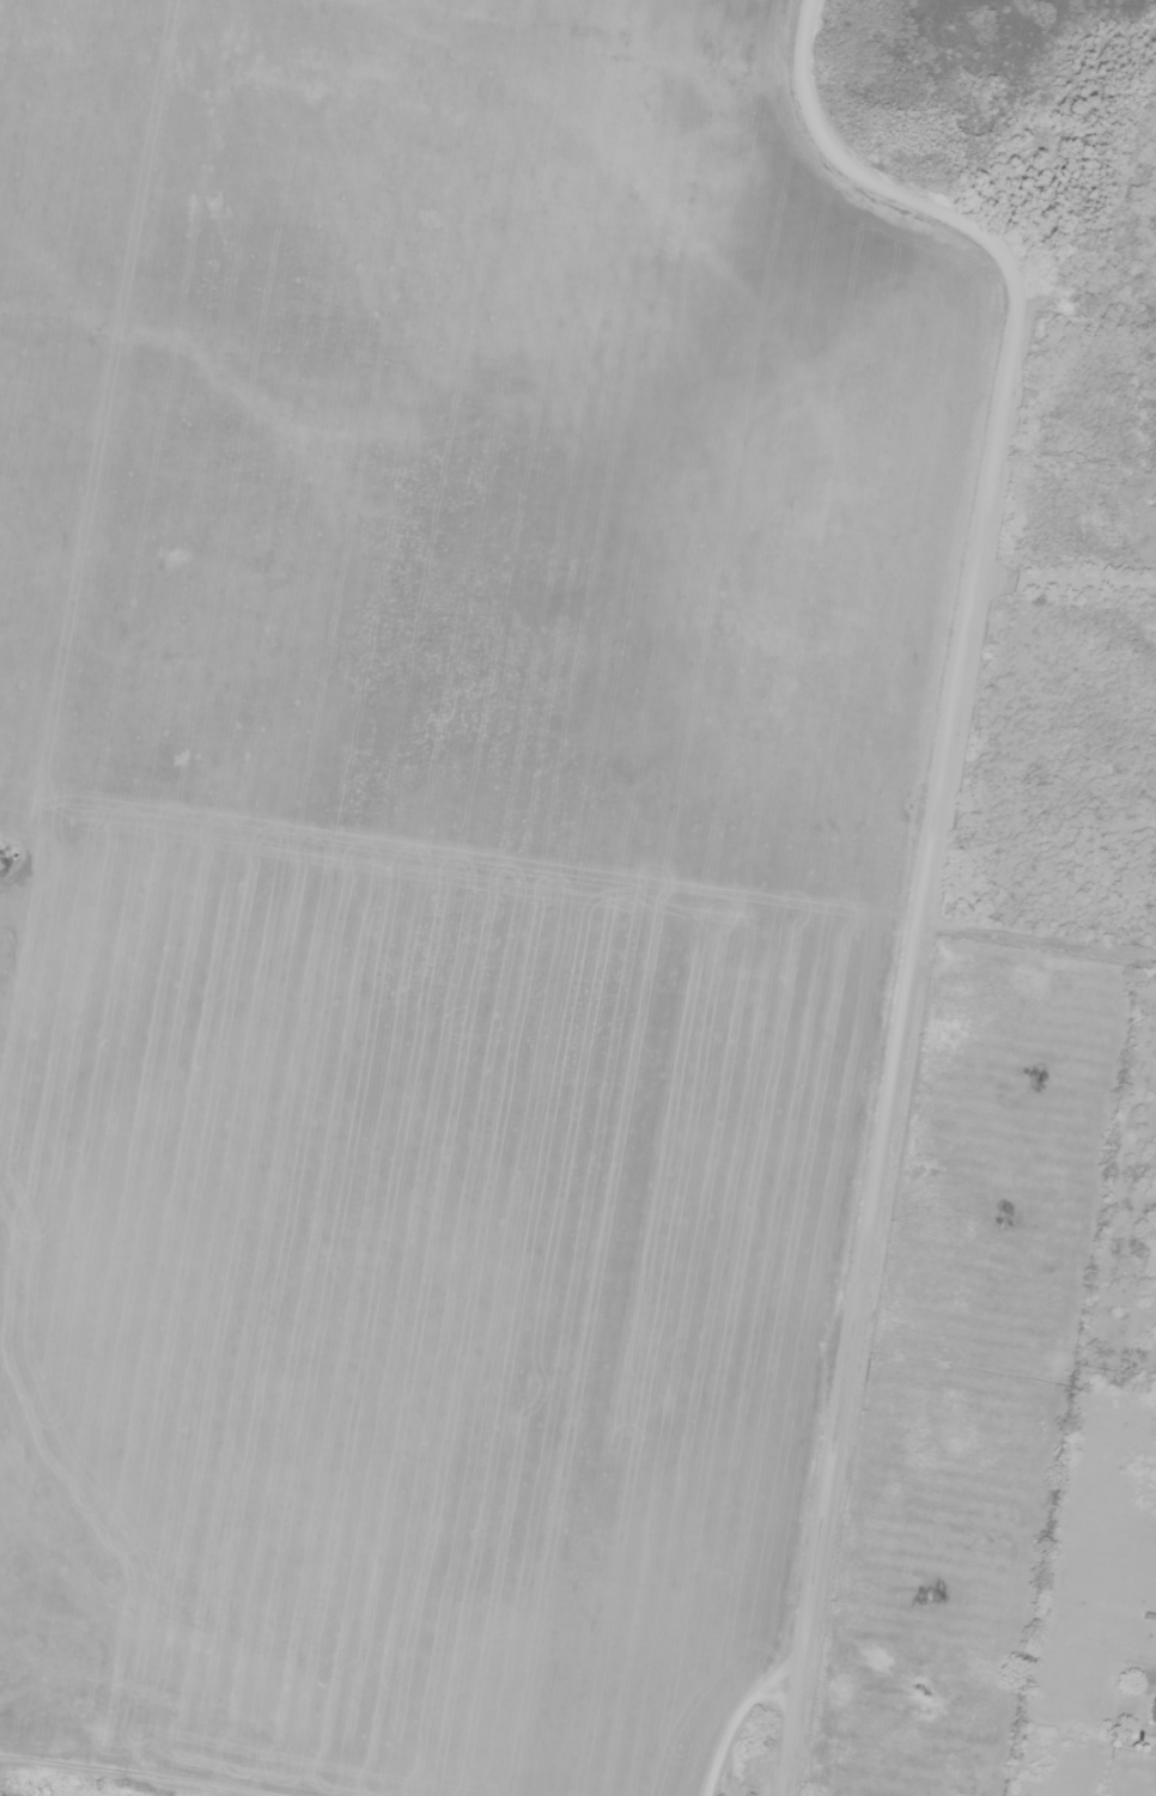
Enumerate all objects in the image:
road: (920, 842)
building: (1154, 1710)
road: (67, 1779)

